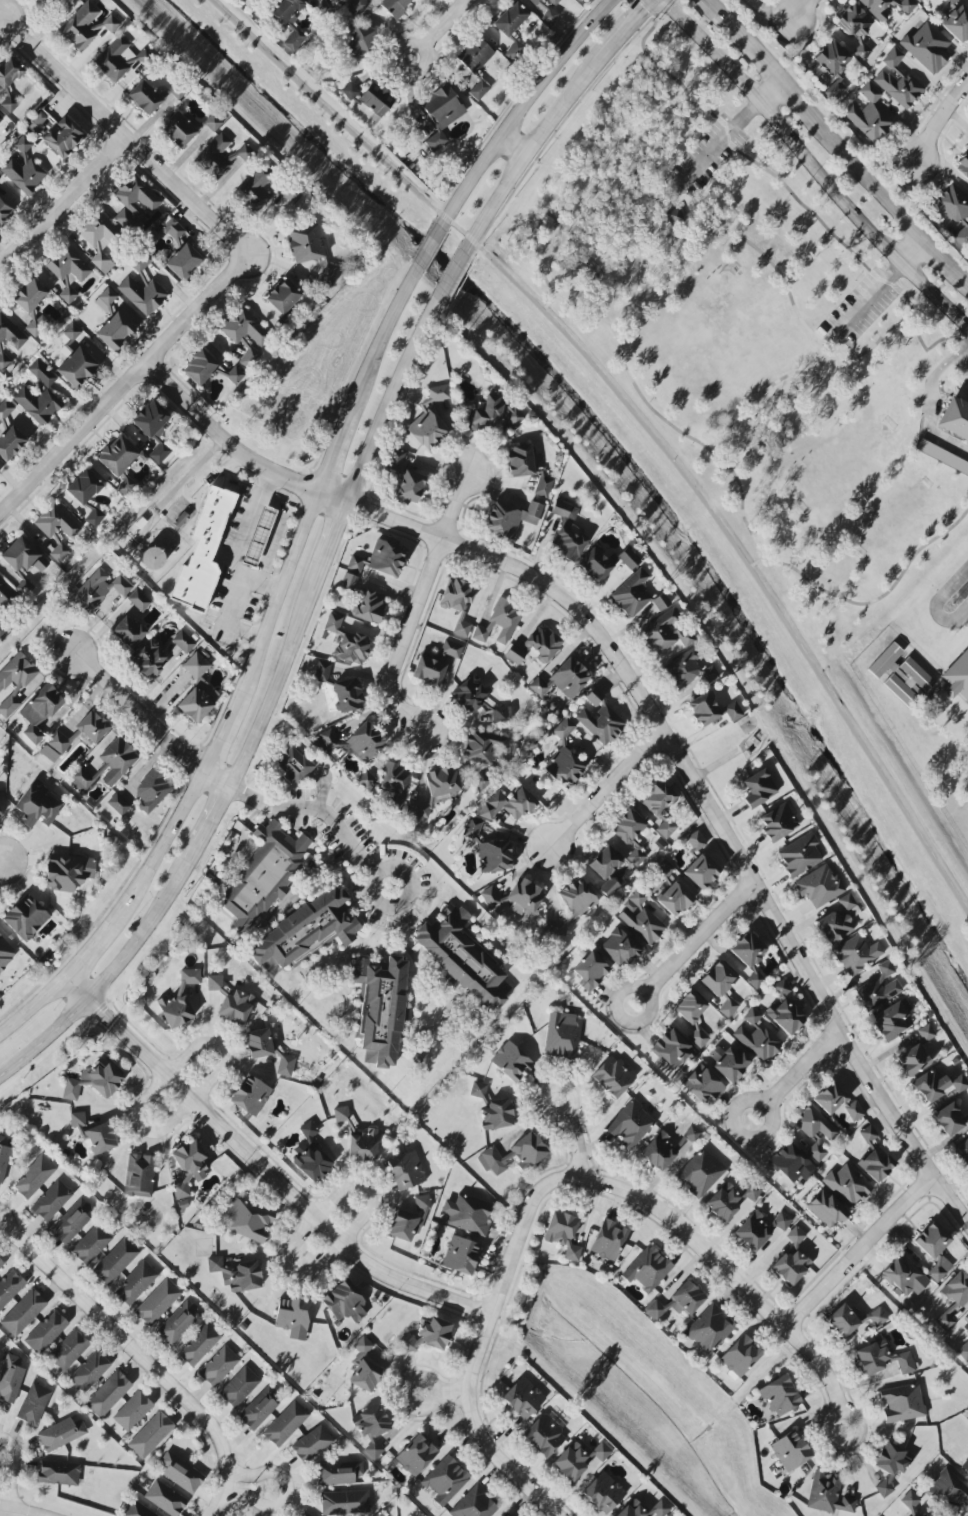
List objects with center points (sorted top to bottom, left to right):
building: (955, 0)
building: (47, 1)
building: (919, 1)
building: (535, 2)
building: (554, 2)
building: (327, 3)
building: (395, 6)
building: (357, 7)
traffic signals: (643, 7)
road: (805, 11)
building: (878, 12)
road: (0, 16)
building: (549, 17)
building: (288, 19)
building: (510, 19)
road: (447, 23)
building: (109, 24)
building: (957, 24)
building: (853, 25)
building: (80, 27)
road: (623, 30)
road: (742, 35)
building: (358, 42)
building: (927, 47)
building: (862, 52)
building: (474, 57)
road: (648, 58)
building: (832, 58)
building: (115, 59)
building: (9, 72)
road: (778, 76)
building: (897, 80)
building: (835, 89)
building: (478, 90)
road: (771, 92)
building: (144, 98)
building: (369, 100)
building: (8, 105)
road: (803, 105)
road: (522, 110)
building: (441, 114)
building: (869, 115)
building: (1, 119)
building: (213, 122)
road: (940, 122)
building: (178, 130)
road: (119, 132)
building: (63, 137)
road: (719, 143)
road: (513, 145)
road: (527, 152)
parking lot: (707, 156)
building: (221, 158)
road: (814, 164)
building: (963, 165)
building: (22, 167)
building: (0, 178)
road: (874, 184)
building: (254, 191)
road: (61, 200)
building: (134, 203)
road: (683, 206)
building: (3, 210)
building: (955, 212)
building: (174, 230)
road: (429, 247)
building: (310, 251)
road: (914, 251)
road: (761, 254)
road: (945, 260)
building: (140, 262)
building: (183, 262)
road: (538, 263)
building: (67, 271)
road: (453, 277)
road: (967, 281)
building: (142, 295)
building: (29, 296)
building: (107, 297)
building: (283, 297)
road: (870, 297)
parking lot: (862, 307)
building: (244, 328)
building: (71, 332)
building: (114, 332)
building: (11, 333)
park: (758, 337)
road: (380, 339)
road: (833, 339)
road: (962, 359)
building: (4, 362)
building: (76, 368)
building: (199, 368)
building: (42, 373)
building: (234, 376)
road: (125, 384)
road: (769, 387)
building: (435, 395)
road: (390, 400)
road: (929, 402)
building: (36, 405)
building: (5, 409)
building: (496, 414)
building: (954, 419)
road: (637, 420)
building: (153, 429)
building: (426, 430)
building: (10, 443)
road: (334, 452)
building: (117, 456)
building: (942, 456)
building: (520, 461)
road: (264, 482)
building: (543, 485)
building: (126, 486)
building: (409, 487)
building: (83, 488)
building: (93, 518)
building: (510, 518)
building: (57, 531)
road: (276, 532)
building: (566, 533)
building: (258, 536)
road: (327, 541)
road: (239, 547)
building: (203, 552)
building: (628, 558)
building: (379, 560)
building: (22, 562)
building: (595, 565)
building: (348, 581)
road: (263, 585)
building: (98, 590)
building: (632, 594)
building: (456, 596)
road: (278, 599)
building: (138, 600)
building: (660, 602)
road: (937, 604)
building: (4, 606)
building: (369, 606)
road: (417, 606)
building: (504, 619)
building: (332, 623)
building: (966, 624)
building: (461, 629)
building: (127, 632)
building: (481, 633)
building: (663, 634)
building: (183, 642)
building: (534, 647)
building: (351, 649)
building: (451, 649)
building: (149, 660)
building: (688, 670)
building: (428, 671)
building: (321, 672)
building: (900, 674)
building: (957, 677)
building: (562, 680)
building: (15, 684)
road: (270, 685)
building: (197, 691)
building: (347, 695)
building: (594, 697)
building: (477, 700)
road: (637, 703)
building: (703, 709)
building: (40, 711)
building: (733, 711)
road: (141, 713)
building: (601, 724)
building: (563, 728)
building: (75, 736)
road: (220, 740)
building: (355, 742)
building: (484, 747)
building: (333, 753)
building: (293, 765)
building: (564, 767)
building: (482, 781)
building: (395, 782)
building: (442, 782)
building: (758, 788)
building: (152, 791)
road: (606, 795)
building: (118, 804)
building: (508, 805)
building: (36, 806)
building: (660, 806)
road: (310, 808)
building: (417, 814)
building: (0, 816)
road: (207, 823)
building: (778, 823)
building: (627, 827)
building: (695, 840)
road: (160, 848)
building: (487, 848)
building: (799, 855)
road: (2, 862)
building: (604, 863)
building: (701, 871)
building: (67, 872)
building: (264, 875)
building: (818, 886)
building: (523, 896)
building: (489, 897)
building: (577, 897)
building: (637, 898)
building: (674, 899)
building: (847, 902)
building: (25, 918)
building: (642, 925)
building: (836, 925)
building: (555, 928)
building: (306, 933)
road: (691, 945)
road: (89, 947)
building: (619, 948)
building: (6, 954)
building: (856, 954)
building: (749, 957)
building: (463, 958)
building: (590, 971)
road: (106, 978)
building: (718, 979)
building: (214, 983)
building: (879, 987)
building: (178, 1001)
road: (33, 1002)
building: (234, 1007)
building: (728, 1007)
building: (381, 1008)
building: (785, 1010)
building: (692, 1017)
building: (891, 1021)
building: (926, 1033)
building: (562, 1036)
building: (755, 1037)
building: (672, 1049)
building: (268, 1051)
building: (912, 1060)
building: (511, 1061)
building: (729, 1063)
road: (796, 1073)
road: (170, 1074)
building: (613, 1077)
building: (94, 1081)
building: (959, 1084)
building: (930, 1085)
building: (703, 1086)
building: (478, 1090)
building: (250, 1095)
building: (829, 1098)
building: (853, 1111)
building: (340, 1113)
building: (497, 1115)
building: (949, 1119)
building: (630, 1125)
building: (308, 1130)
building: (816, 1132)
building: (93, 1134)
road: (575, 1135)
building: (868, 1135)
building: (363, 1145)
building: (668, 1149)
building: (962, 1151)
building: (512, 1154)
building: (3, 1157)
building: (191, 1160)
building: (310, 1163)
building: (791, 1164)
building: (876, 1164)
road: (262, 1169)
building: (406, 1171)
building: (700, 1173)
building: (139, 1176)
building: (34, 1177)
building: (847, 1185)
building: (180, 1190)
building: (730, 1200)
building: (51, 1201)
building: (421, 1203)
building: (826, 1209)
building: (467, 1214)
road: (318, 1218)
building: (247, 1220)
building: (72, 1221)
building: (402, 1226)
building: (760, 1228)
building: (562, 1234)
building: (607, 1239)
building: (932, 1240)
building: (90, 1244)
road: (860, 1252)
building: (460, 1255)
building: (792, 1260)
building: (115, 1261)
building: (1, 1263)
building: (939, 1269)
road: (508, 1270)
building: (650, 1270)
building: (236, 1274)
building: (905, 1277)
road: (737, 1278)
building: (135, 1283)
building: (10, 1287)
building: (953, 1299)
building: (157, 1302)
building: (344, 1302)
building: (678, 1302)
building: (23, 1312)
building: (292, 1317)
building: (876, 1318)
building: (966, 1319)
building: (842, 1321)
building: (177, 1323)
building: (709, 1329)
building: (45, 1332)
building: (428, 1336)
road: (125, 1340)
building: (199, 1344)
building: (363, 1346)
building: (69, 1350)
building: (964, 1352)
building: (739, 1357)
building: (882, 1359)
building: (218, 1366)
building: (89, 1371)
building: (365, 1376)
building: (10, 1378)
building: (239, 1387)
road: (443, 1393)
building: (108, 1394)
building: (780, 1396)
building: (523, 1398)
building: (901, 1403)
building: (33, 1404)
building: (257, 1410)
building: (132, 1411)
building: (285, 1424)
building: (372, 1429)
building: (61, 1434)
building: (150, 1435)
building: (543, 1436)
building: (312, 1443)
building: (790, 1451)
building: (415, 1456)
road: (498, 1462)
building: (580, 1462)
building: (889, 1466)
building: (965, 1466)
road: (12, 1472)
building: (58, 1473)
building: (181, 1473)
building: (338, 1473)
building: (444, 1481)
road: (220, 1490)
road: (287, 1490)
building: (947, 1492)
building: (604, 1493)
building: (828, 1494)
building: (165, 1499)
building: (910, 1501)
building: (344, 1503)
building: (474, 1504)
building: (660, 1508)
building: (138, 1510)
building: (632, 1510)
road: (11, 1512)
building: (304, 1514)
building: (505, 1514)

